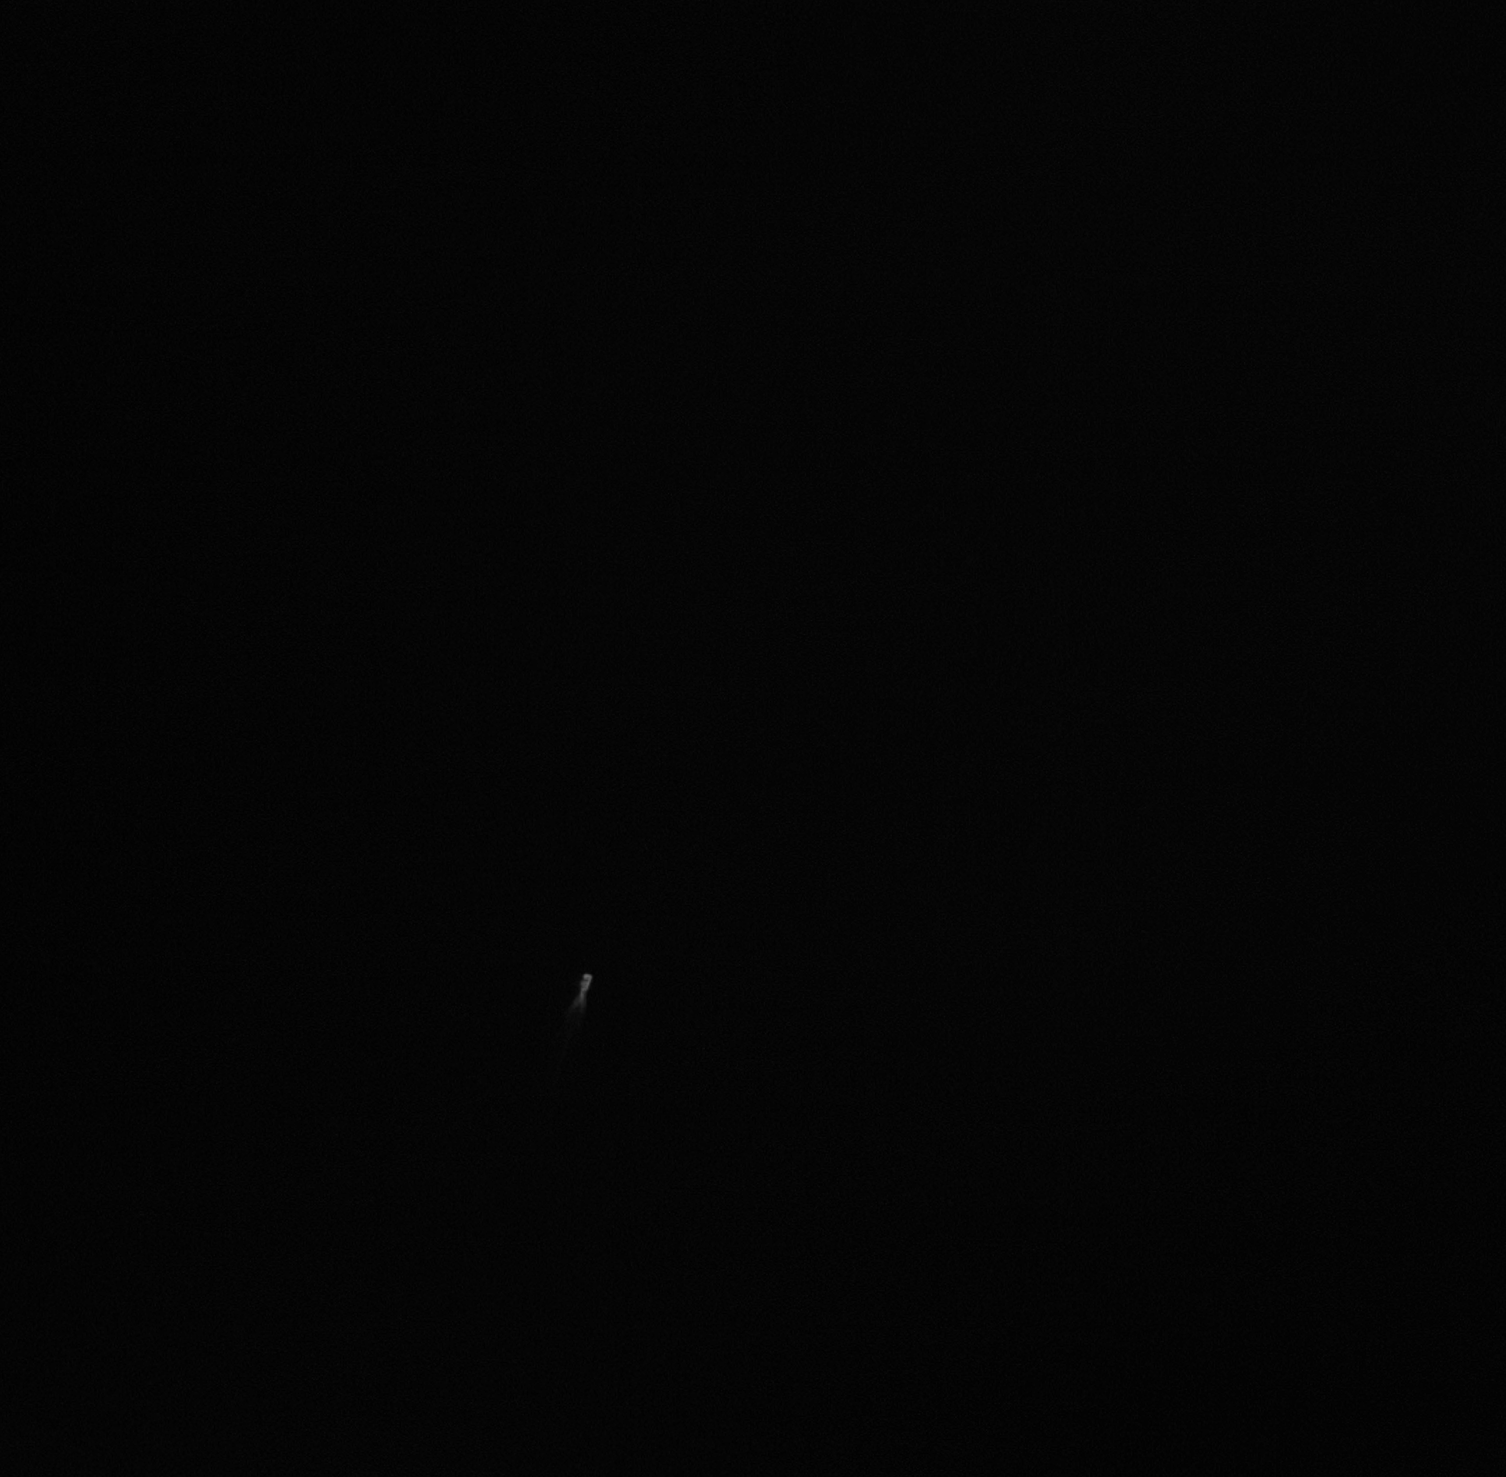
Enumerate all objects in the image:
river: (1088, 746)

